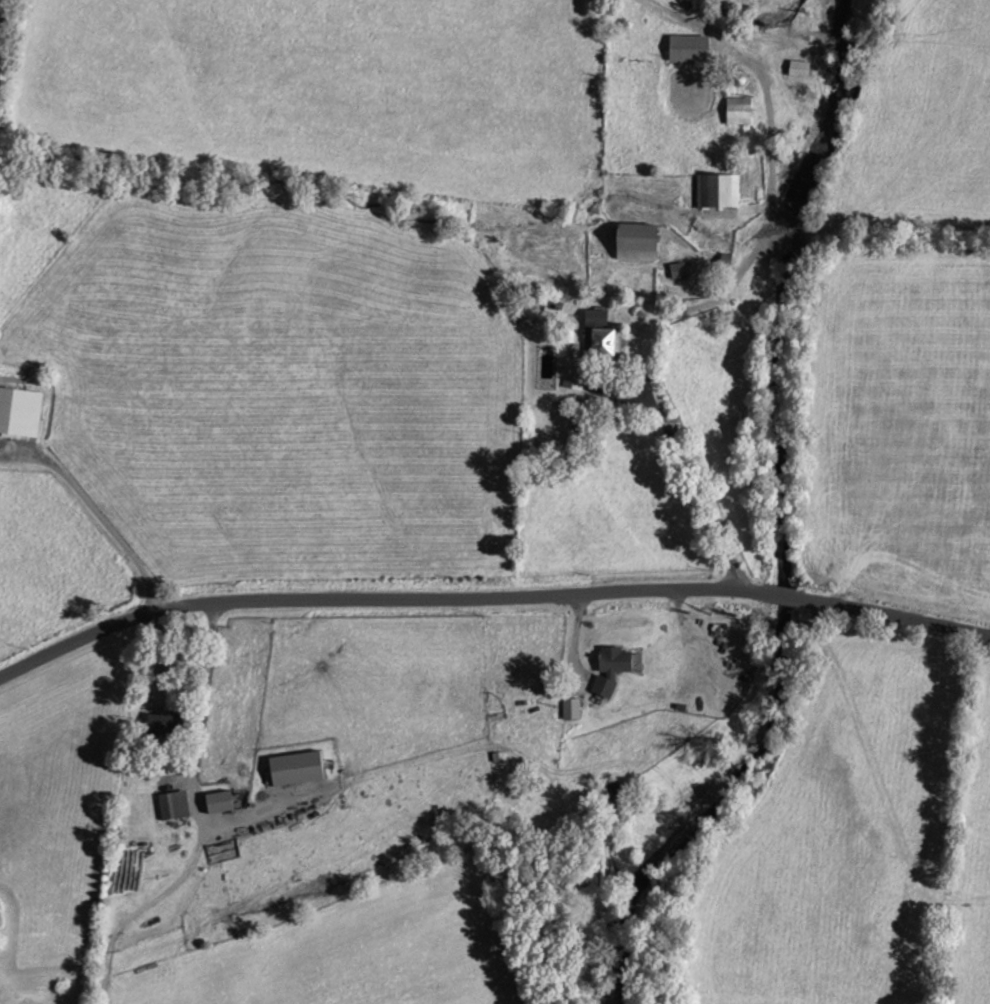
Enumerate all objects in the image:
building: (692, 47)
building: (802, 67)
building: (741, 108)
building: (720, 190)
building: (644, 240)
building: (679, 269)
building: (610, 340)
building: (571, 375)
building: (21, 411)
road: (489, 595)
building: (616, 667)
building: (168, 724)
building: (676, 739)
building: (300, 768)
building: (223, 801)
building: (176, 805)

